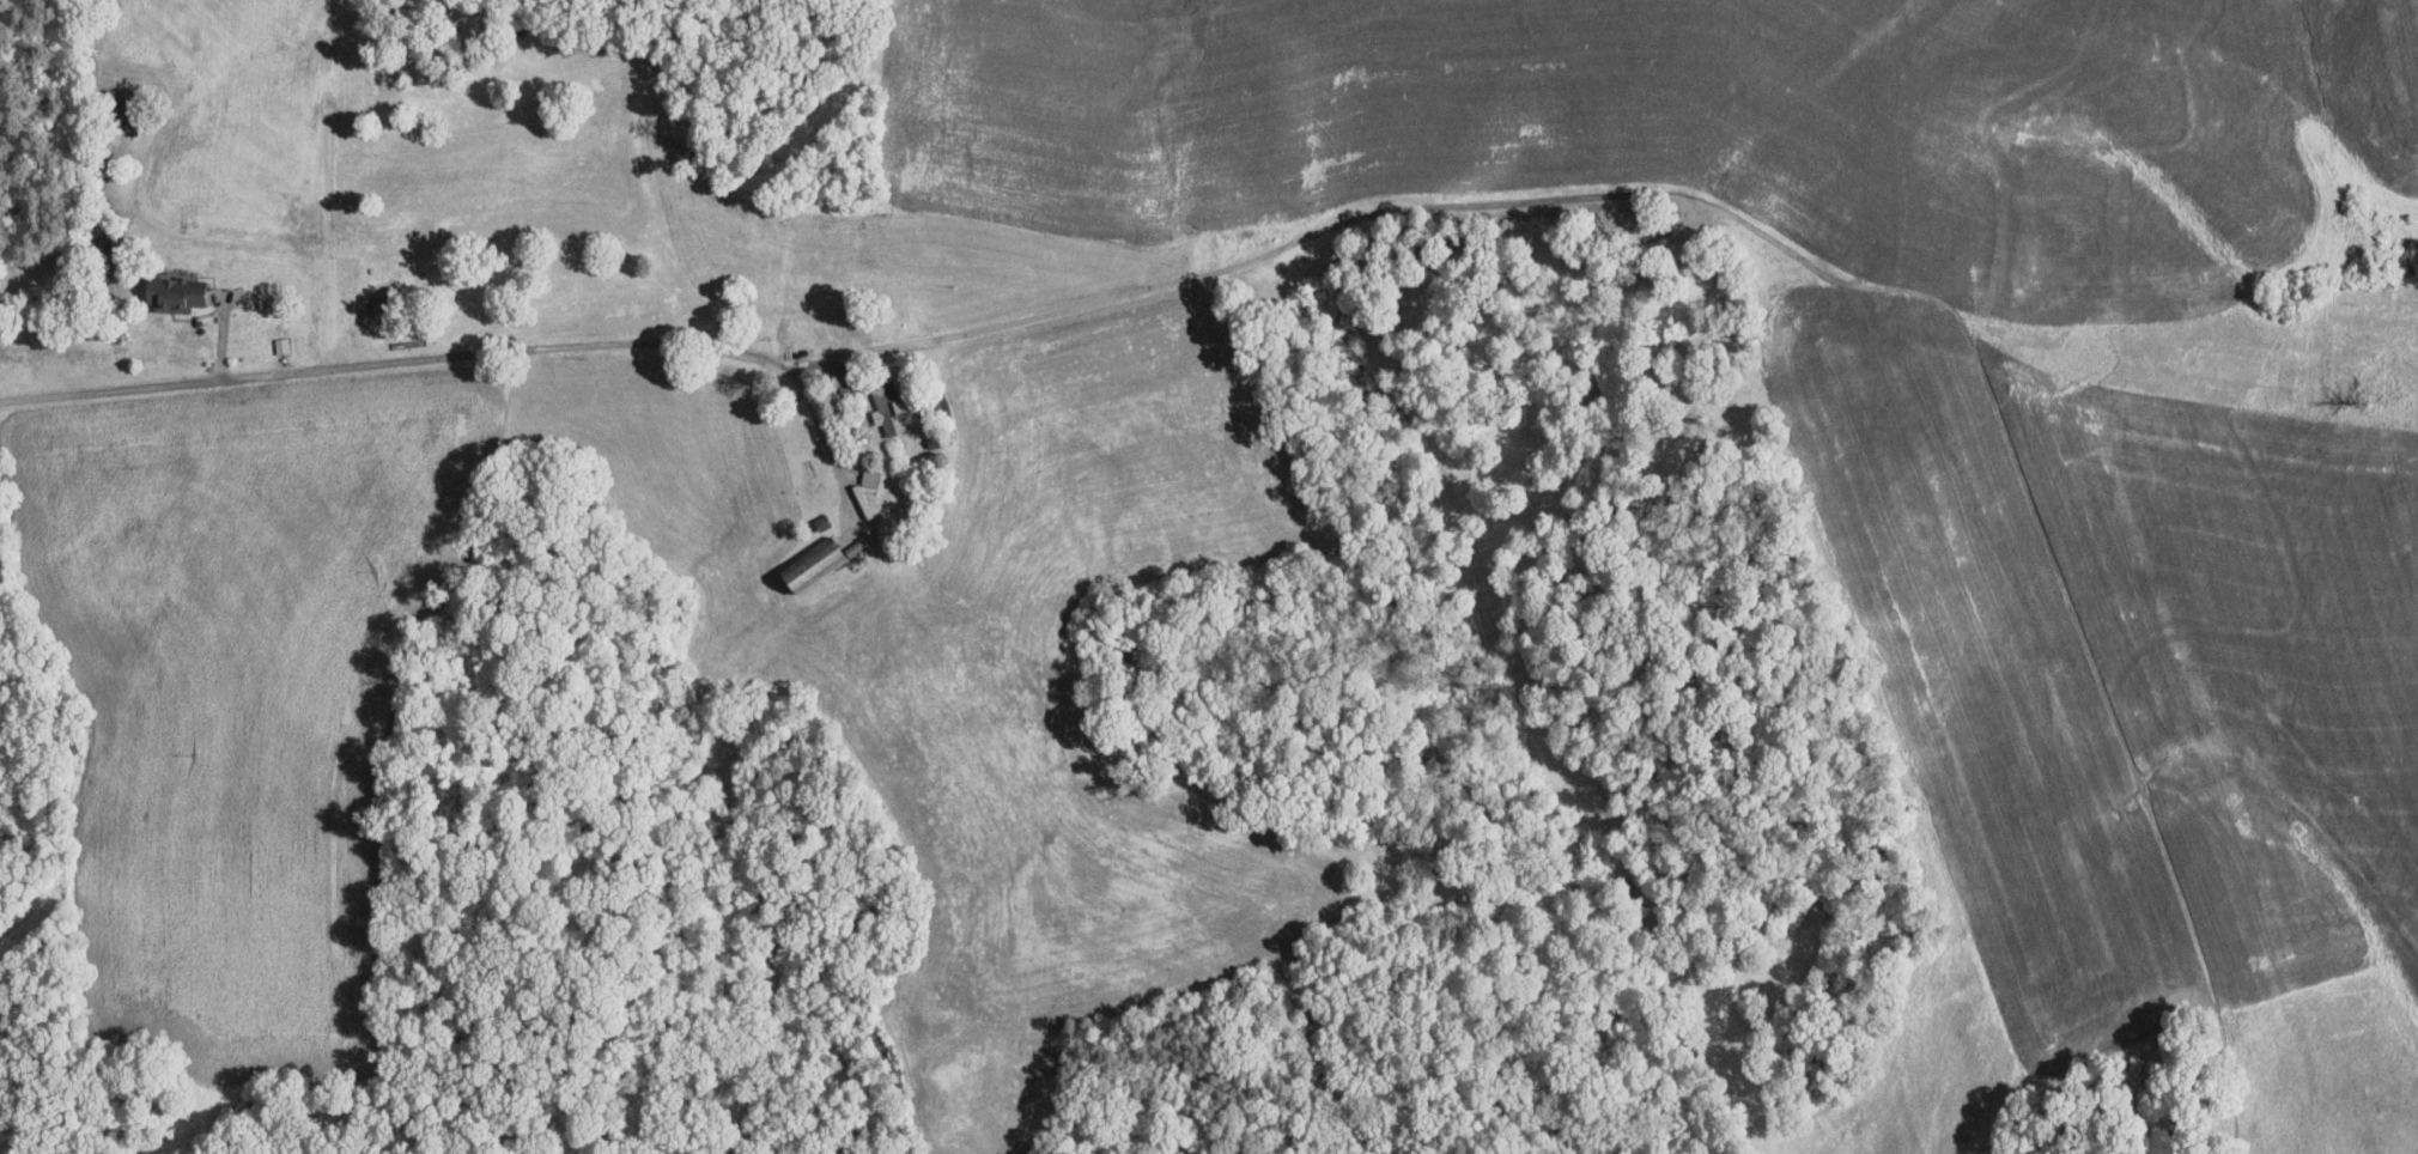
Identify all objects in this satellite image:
building: (171, 292)
road: (463, 352)
building: (883, 413)
building: (870, 478)
building: (809, 565)

